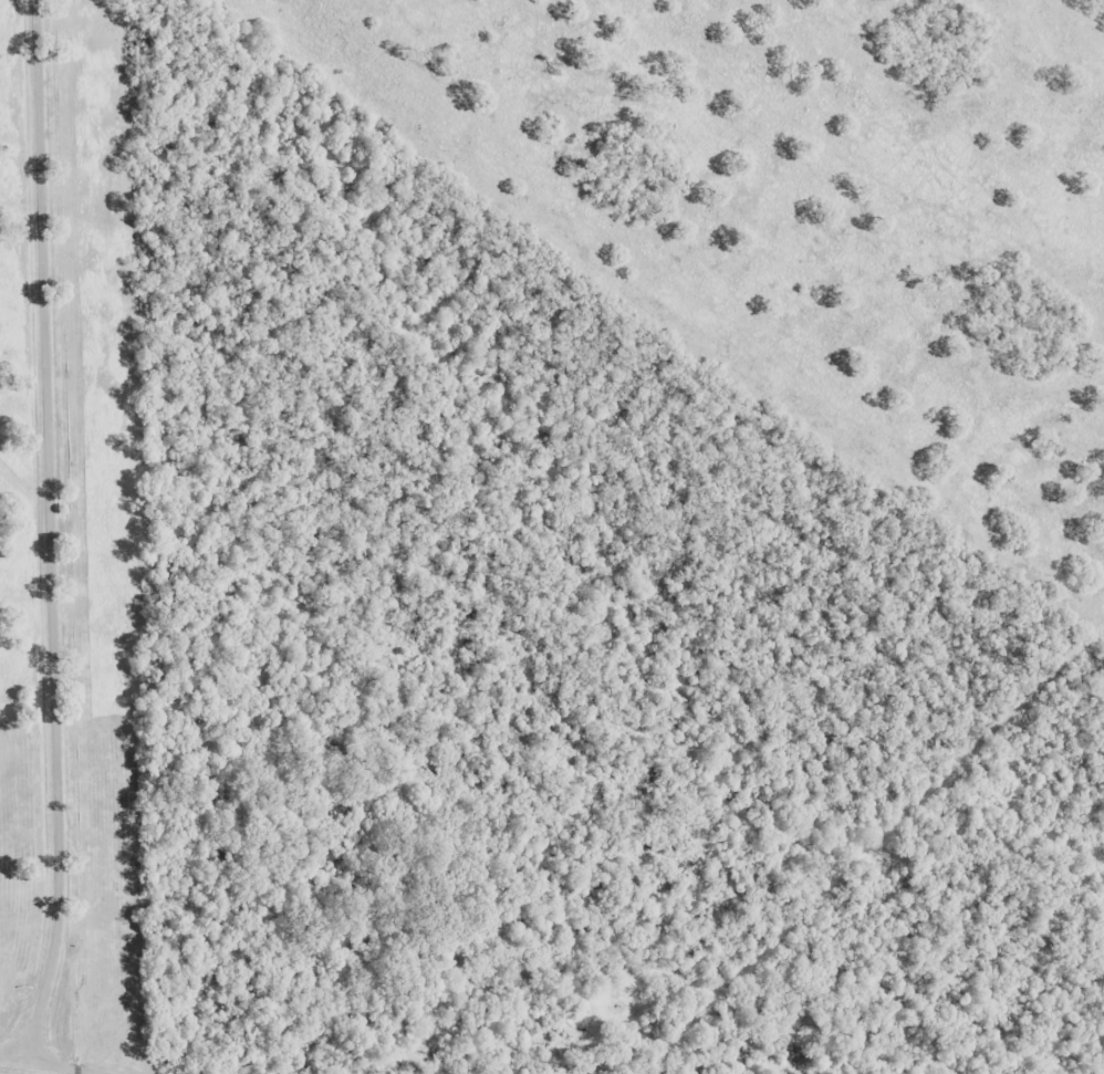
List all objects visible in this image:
road: (6, 481)
road: (14, 538)

